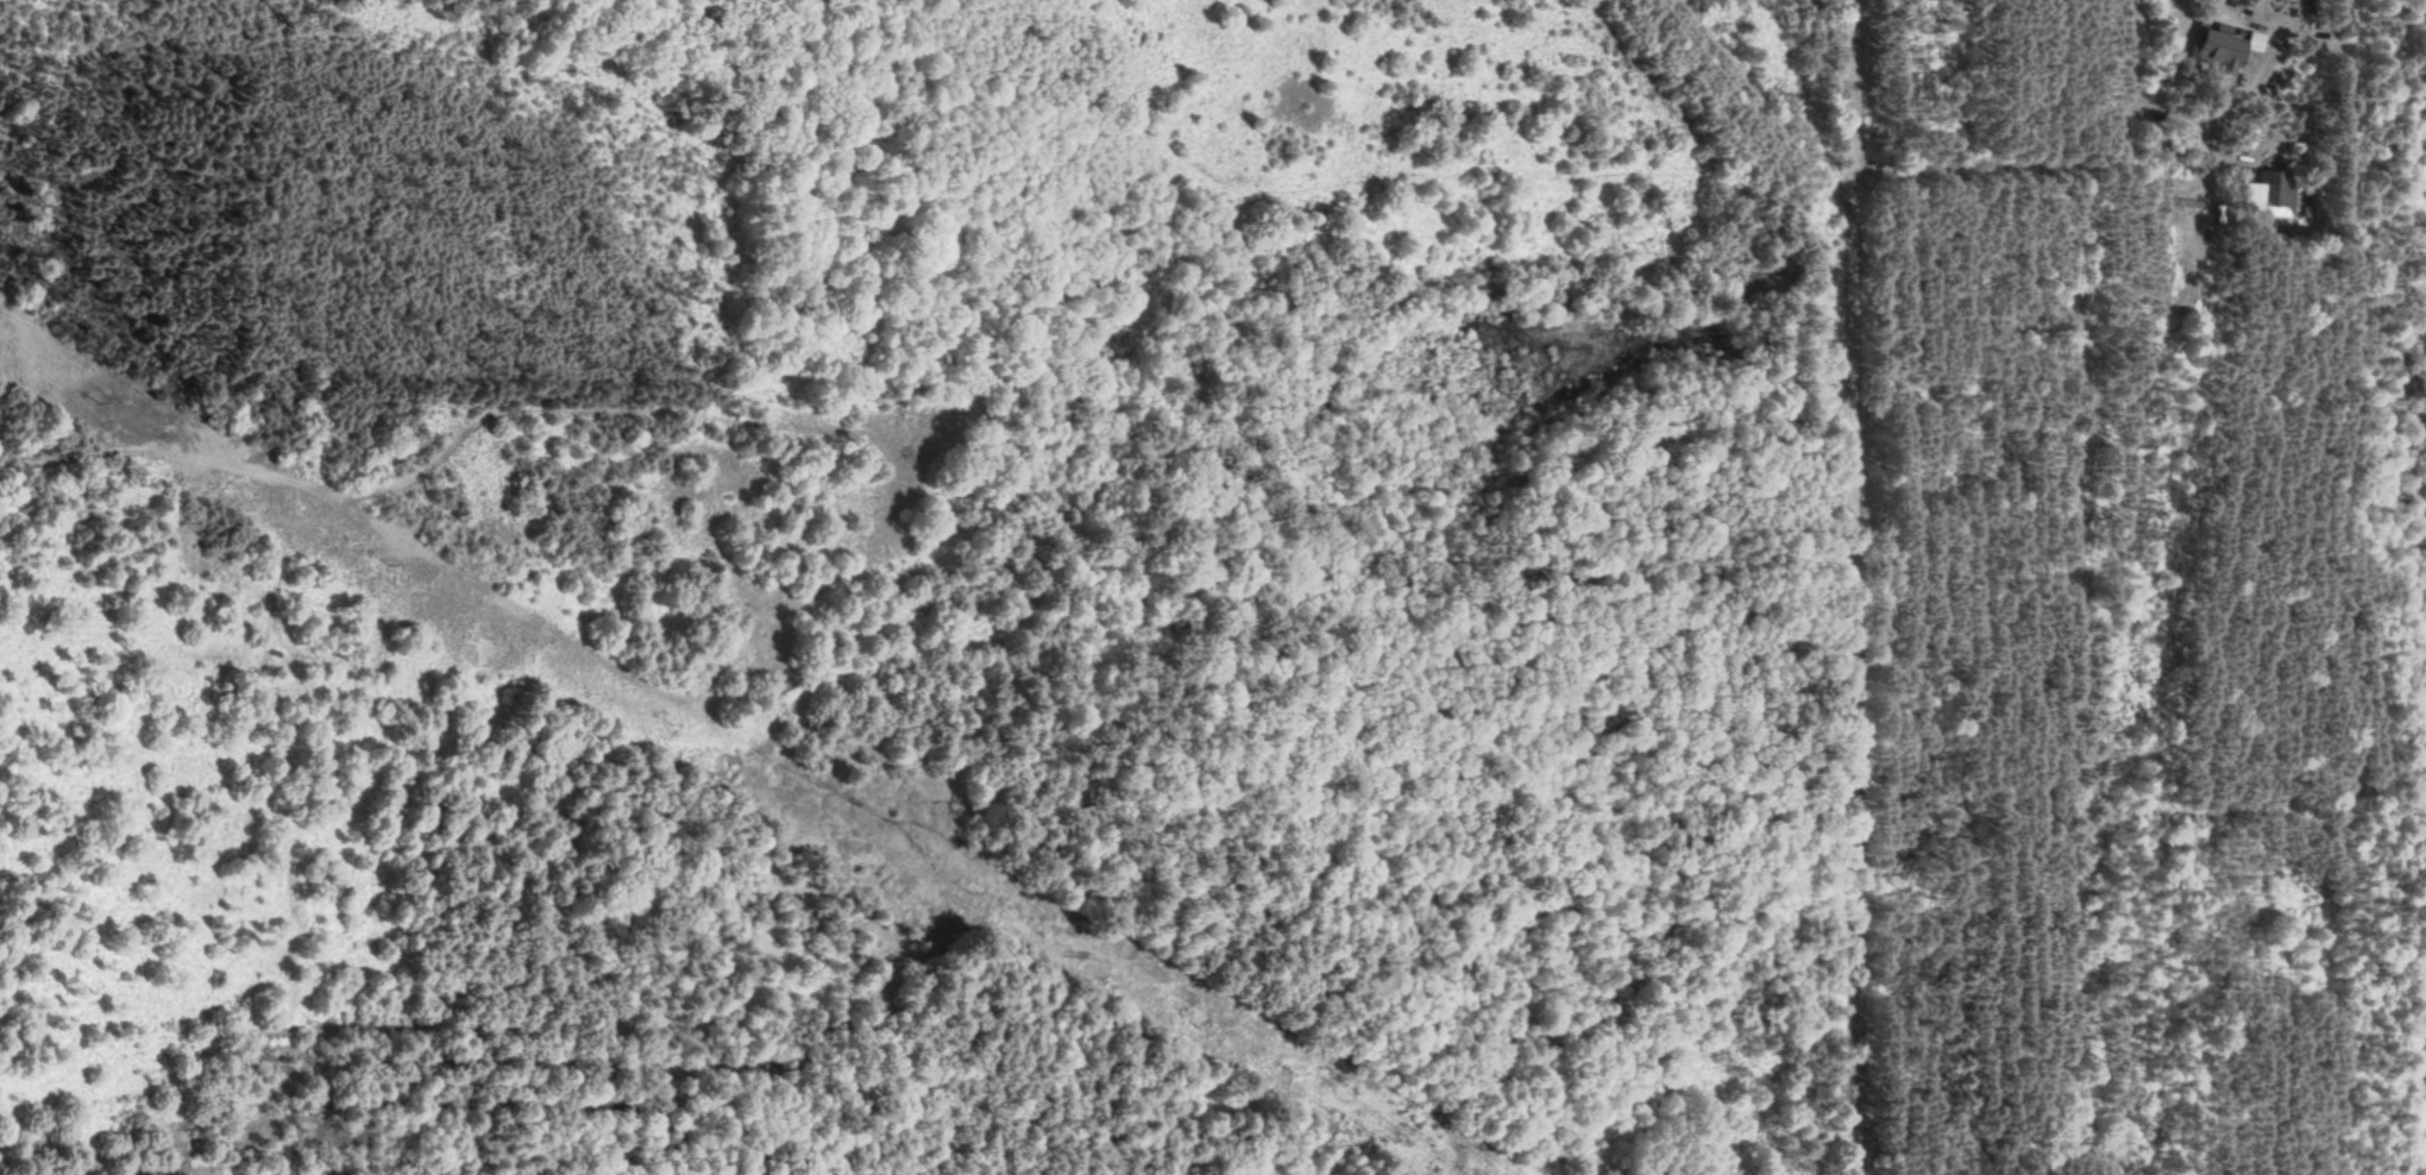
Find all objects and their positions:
building: (2225, 50)
building: (2269, 189)
road: (1840, 587)
building: (2425, 1082)

